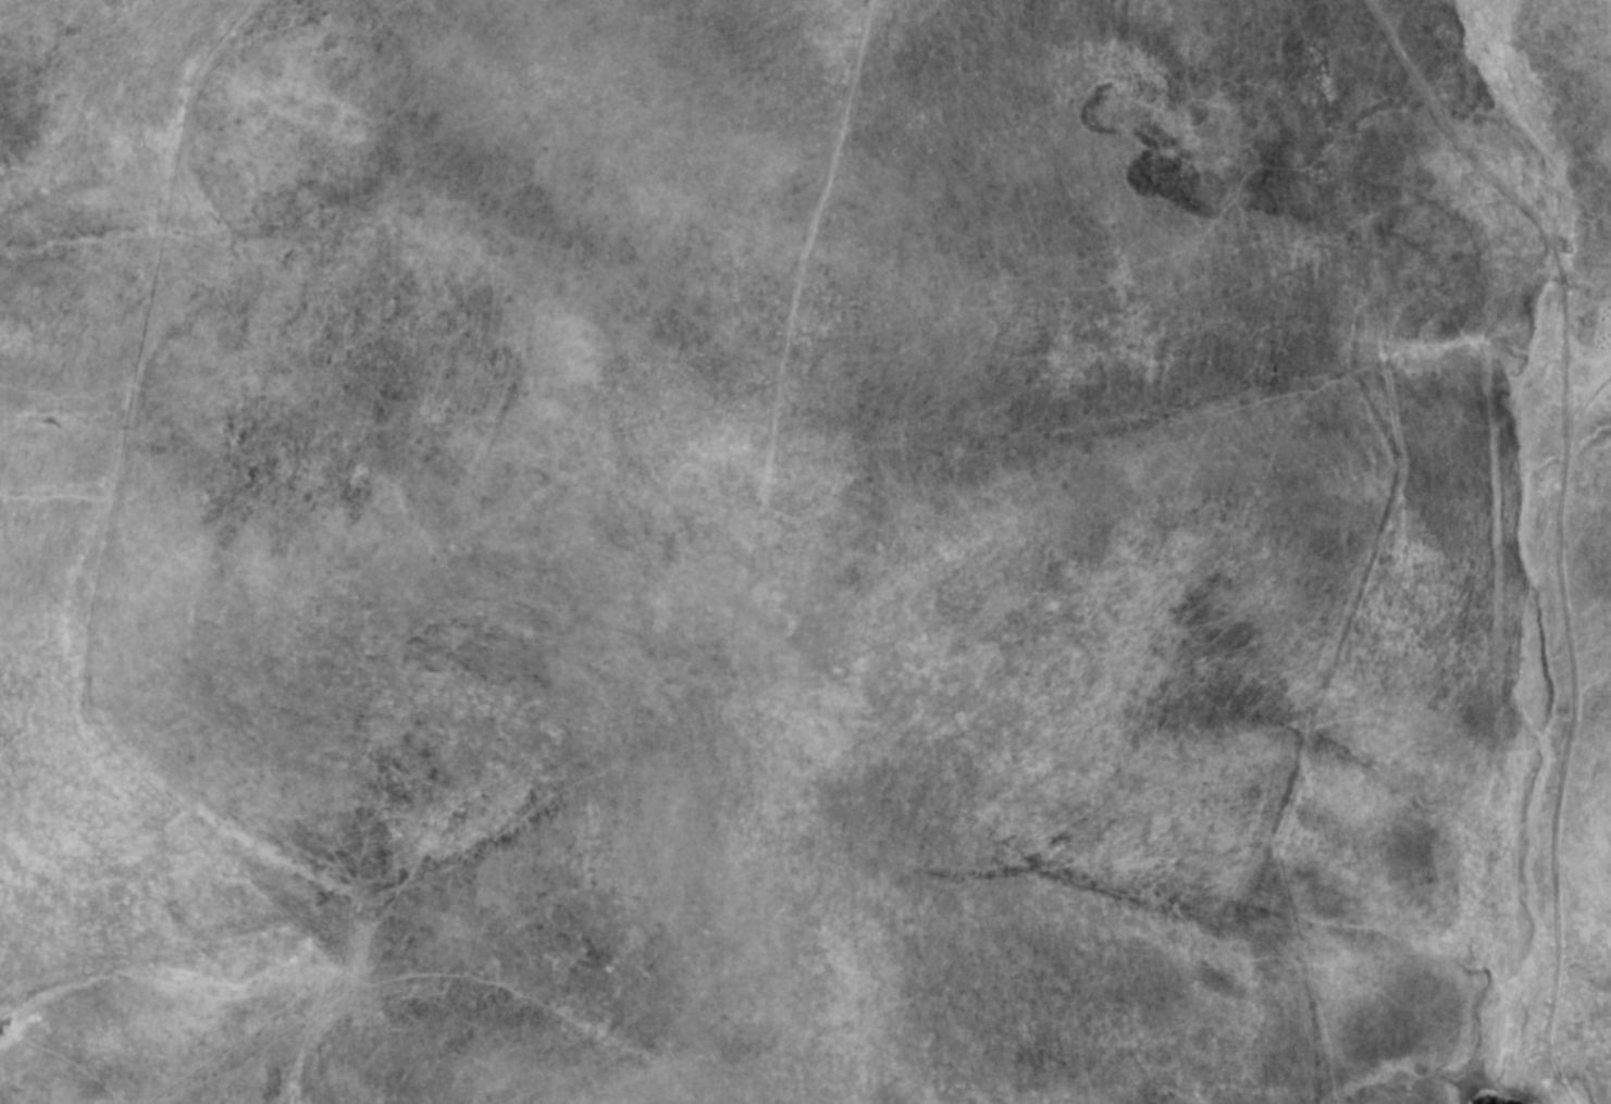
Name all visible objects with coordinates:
crop: (805, 551)

